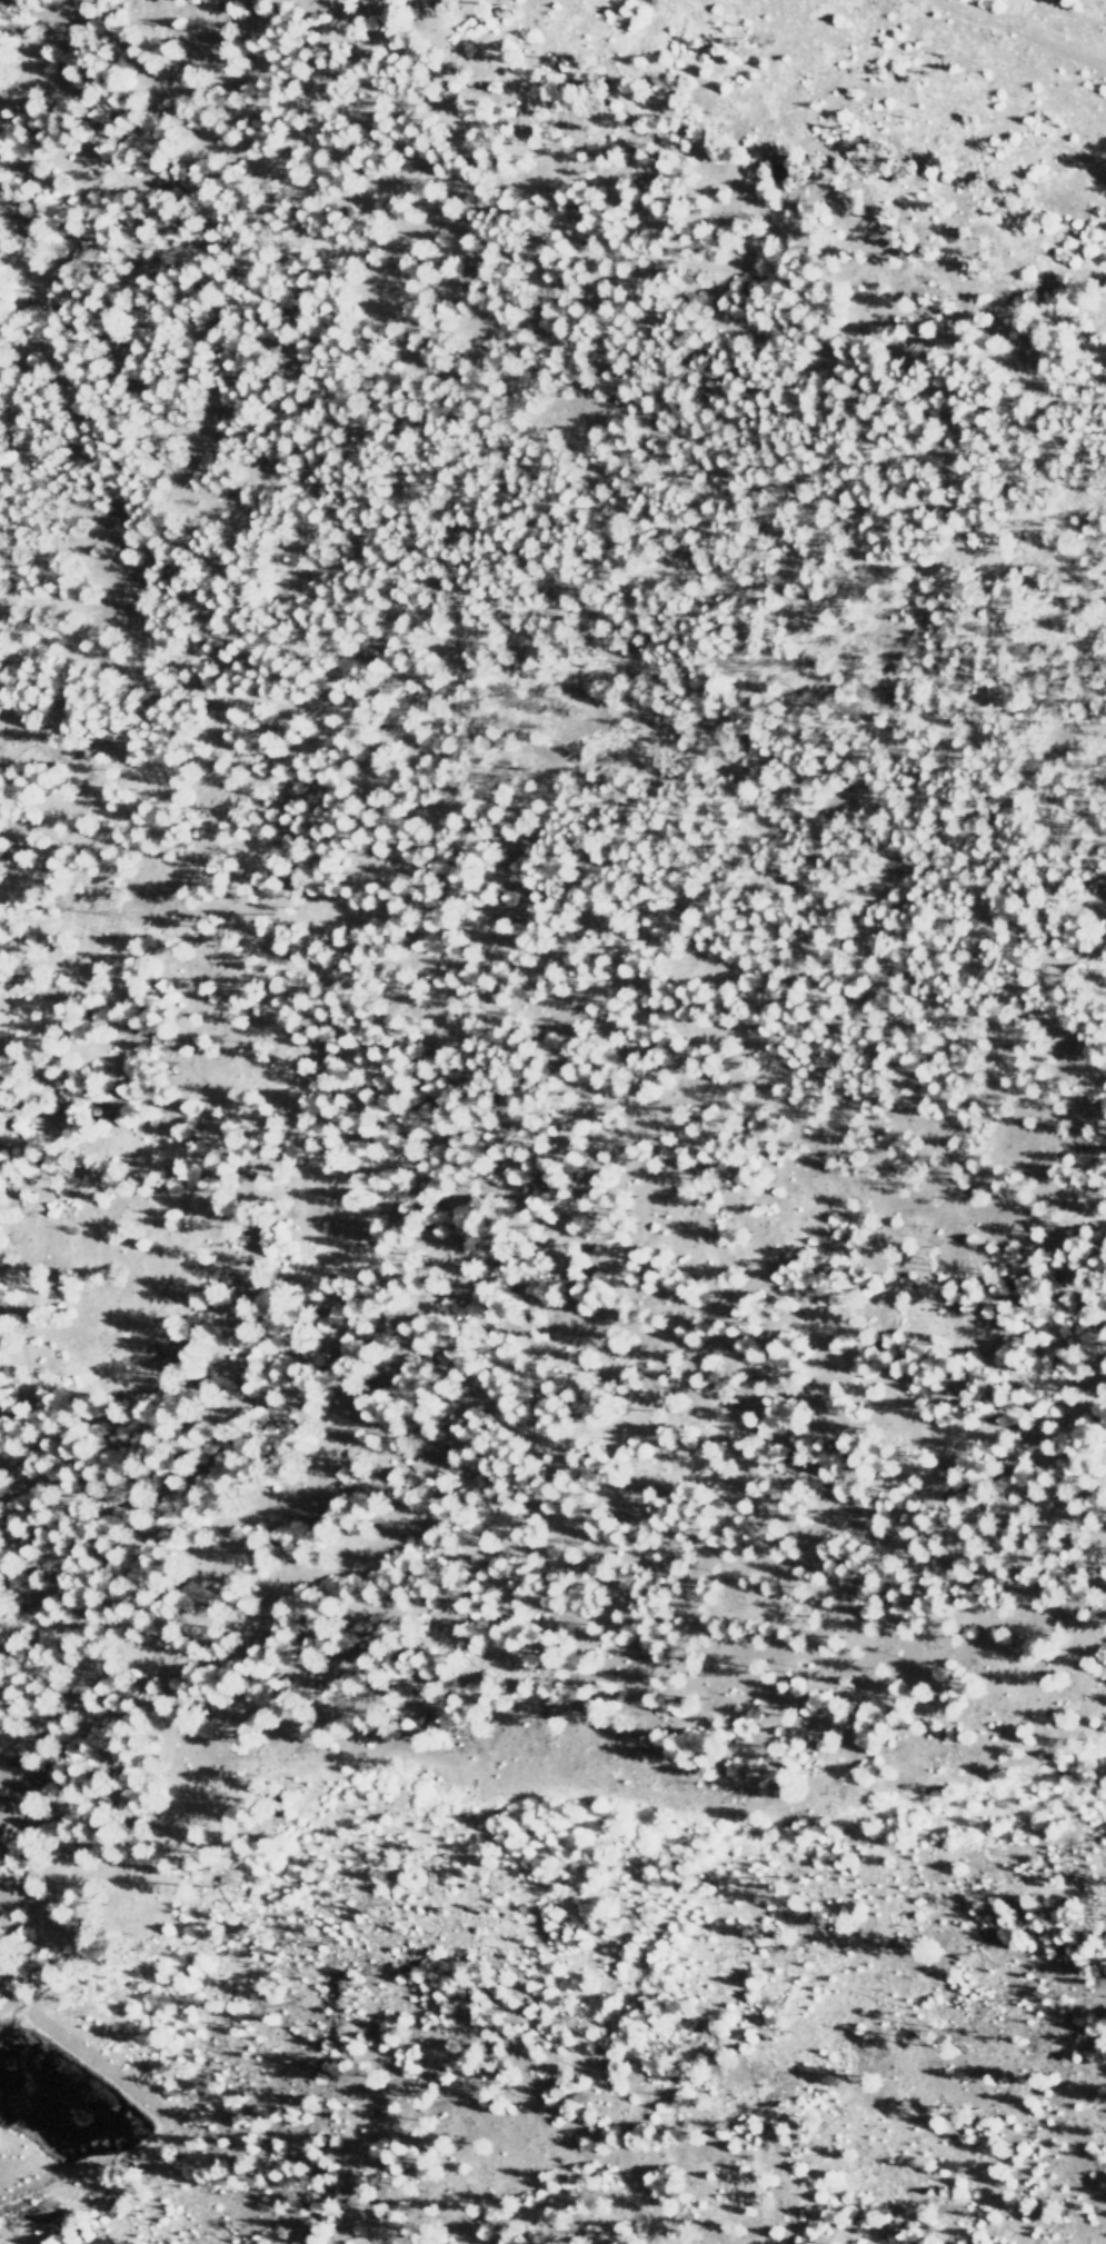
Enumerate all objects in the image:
dam: (91, 2063)

